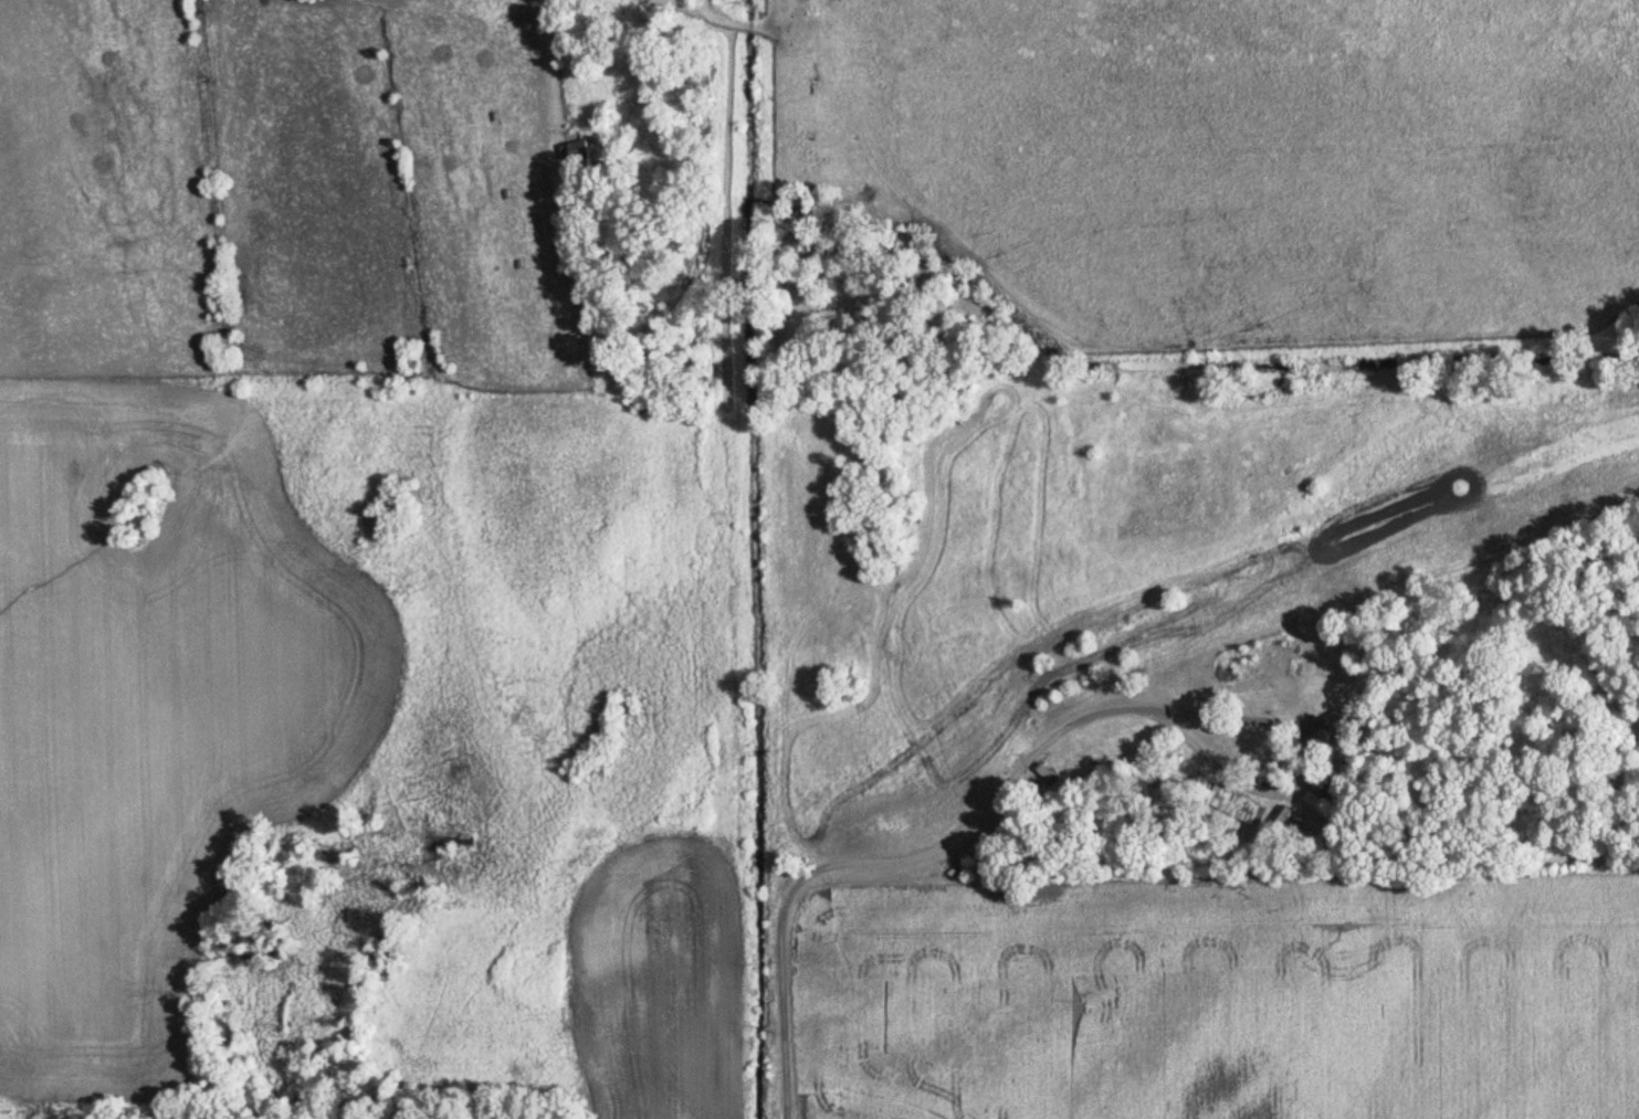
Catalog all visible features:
building: (575, 151)
building: (1327, 729)
building: (1044, 773)
building: (1244, 811)
building: (1321, 815)
road: (933, 843)

